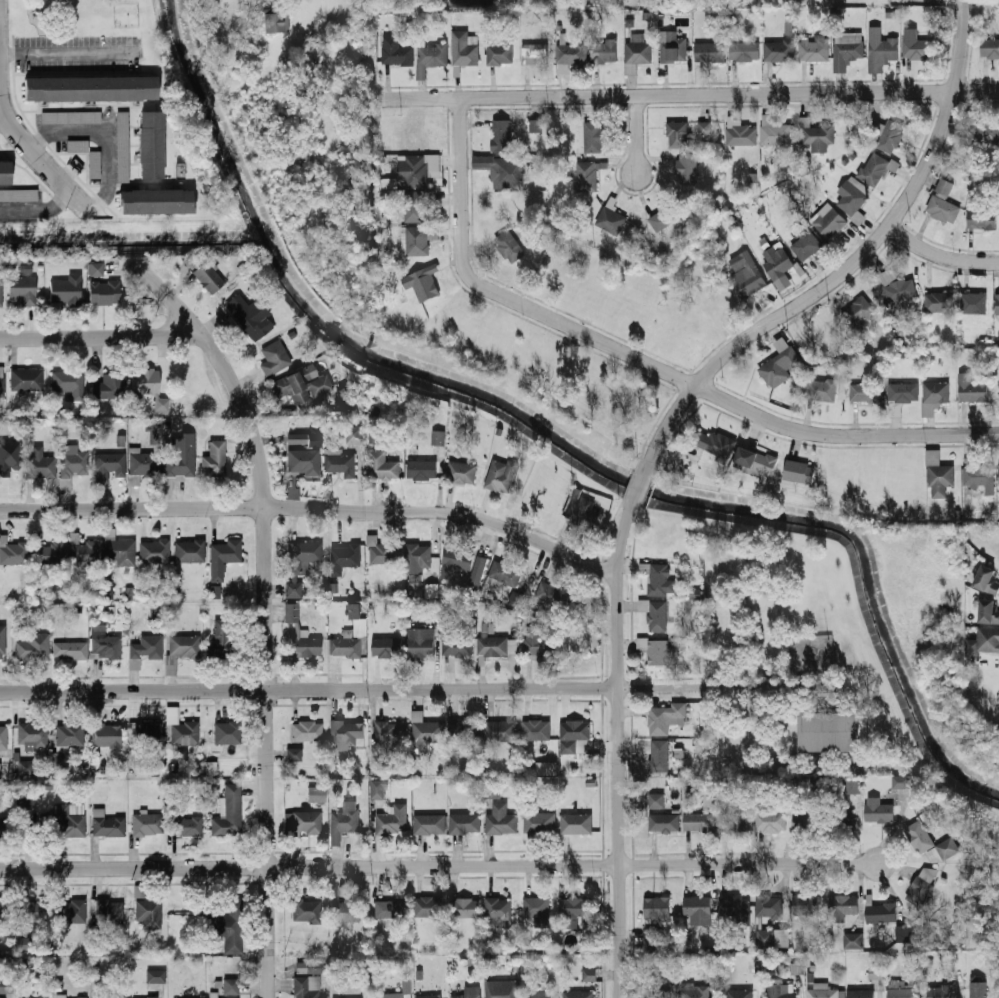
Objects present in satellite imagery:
building: (277, 23)
building: (672, 48)
building: (916, 48)
building: (989, 48)
building: (464, 49)
building: (847, 49)
building: (780, 50)
building: (396, 51)
building: (604, 51)
building: (711, 51)
building: (815, 51)
building: (638, 52)
building: (744, 52)
building: (882, 52)
road: (66, 53)
building: (500, 53)
building: (536, 54)
building: (571, 54)
building: (431, 58)
building: (91, 89)
road: (692, 93)
building: (71, 118)
road: (6, 120)
building: (536, 126)
building: (704, 128)
building: (979, 129)
road: (636, 132)
building: (893, 132)
building: (679, 134)
building: (777, 134)
road: (24, 135)
building: (501, 135)
building: (741, 135)
building: (817, 135)
building: (593, 137)
road: (111, 140)
building: (152, 145)
building: (78, 146)
building: (123, 147)
building: (95, 165)
building: (874, 168)
building: (687, 169)
building: (417, 170)
building: (503, 170)
building: (5, 173)
building: (587, 175)
building: (18, 195)
building: (852, 199)
building: (156, 202)
building: (943, 202)
road: (37, 205)
building: (415, 207)
building: (666, 216)
building: (982, 219)
building: (611, 220)
building: (831, 224)
building: (417, 241)
building: (510, 246)
building: (806, 246)
road: (939, 255)
road: (850, 263)
building: (779, 264)
building: (95, 270)
building: (209, 278)
building: (424, 284)
building: (750, 284)
building: (1, 290)
building: (24, 290)
building: (67, 290)
building: (900, 290)
building: (105, 293)
building: (940, 302)
building: (974, 303)
building: (997, 305)
building: (857, 312)
building: (251, 317)
road: (102, 335)
building: (820, 337)
road: (641, 358)
building: (275, 359)
building: (778, 367)
building: (27, 381)
building: (69, 384)
building: (303, 386)
building: (2, 387)
building: (111, 387)
building: (820, 387)
building: (972, 388)
building: (148, 390)
building: (866, 392)
building: (903, 392)
building: (935, 393)
building: (154, 432)
building: (354, 434)
building: (438, 437)
building: (303, 439)
river: (562, 439)
building: (712, 443)
building: (9, 458)
building: (180, 459)
building: (214, 460)
building: (756, 461)
building: (73, 462)
building: (304, 462)
building: (340, 462)
building: (109, 465)
building: (144, 465)
building: (40, 466)
building: (382, 466)
building: (422, 470)
building: (800, 471)
building: (462, 472)
building: (501, 476)
building: (939, 476)
building: (978, 476)
road: (638, 489)
road: (314, 507)
building: (582, 512)
building: (120, 552)
building: (155, 552)
building: (190, 552)
building: (85, 553)
building: (14, 554)
building: (385, 554)
building: (50, 555)
building: (346, 556)
building: (224, 558)
building: (416, 559)
building: (300, 563)
building: (463, 567)
building: (503, 576)
building: (987, 579)
building: (661, 580)
building: (431, 591)
building: (215, 592)
building: (553, 595)
road: (266, 608)
building: (988, 611)
building: (656, 614)
building: (302, 635)
building: (988, 640)
building: (349, 642)
building: (421, 642)
building: (539, 643)
building: (105, 644)
building: (494, 644)
building: (457, 645)
building: (225, 646)
building: (70, 647)
building: (184, 647)
building: (5, 648)
building: (34, 648)
building: (387, 648)
building: (146, 650)
building: (659, 650)
road: (418, 687)
building: (665, 717)
building: (347, 729)
building: (182, 730)
building: (429, 731)
building: (501, 731)
building: (537, 731)
building: (308, 732)
building: (391, 732)
building: (464, 732)
building: (829, 732)
building: (145, 734)
building: (229, 734)
building: (576, 734)
building: (71, 735)
building: (4, 736)
building: (33, 736)
building: (108, 736)
road: (618, 753)
building: (294, 755)
building: (659, 756)
building: (546, 768)
building: (0, 770)
building: (901, 782)
building: (854, 786)
building: (377, 789)
building: (492, 791)
building: (317, 795)
building: (656, 801)
building: (878, 810)
building: (229, 814)
building: (842, 819)
building: (502, 820)
building: (344, 821)
building: (68, 822)
building: (392, 822)
building: (700, 822)
building: (734, 822)
building: (806, 822)
building: (303, 823)
building: (540, 823)
building: (664, 823)
building: (772, 823)
building: (429, 824)
building: (465, 824)
building: (577, 824)
building: (107, 825)
building: (148, 825)
building: (186, 827)
building: (4, 828)
building: (931, 843)
road: (441, 866)
building: (923, 886)
building: (805, 905)
building: (536, 907)
building: (575, 907)
building: (843, 907)
building: (429, 908)
building: (465, 908)
building: (769, 908)
building: (391, 909)
building: (657, 909)
building: (736, 909)
building: (346, 910)
building: (698, 910)
building: (307, 911)
building: (33, 912)
building: (73, 912)
building: (499, 912)
building: (3, 913)
building: (109, 913)
building: (149, 913)
building: (881, 913)
building: (903, 933)
building: (229, 936)
building: (782, 938)
building: (853, 941)
building: (309, 968)
building: (876, 973)
building: (589, 974)
building: (157, 976)
building: (7, 987)
building: (232, 987)
building: (307, 988)
building: (502, 989)
building: (664, 989)
building: (979, 989)
building: (696, 991)
building: (782, 991)
building: (470, 992)
building: (823, 992)
building: (903, 992)
building: (941, 992)
building: (539, 994)
building: (740, 994)
building: (861, 994)
building: (391, 995)
building: (579, 995)
building: (61, 996)
building: (429, 996)
building: (82, 997)

